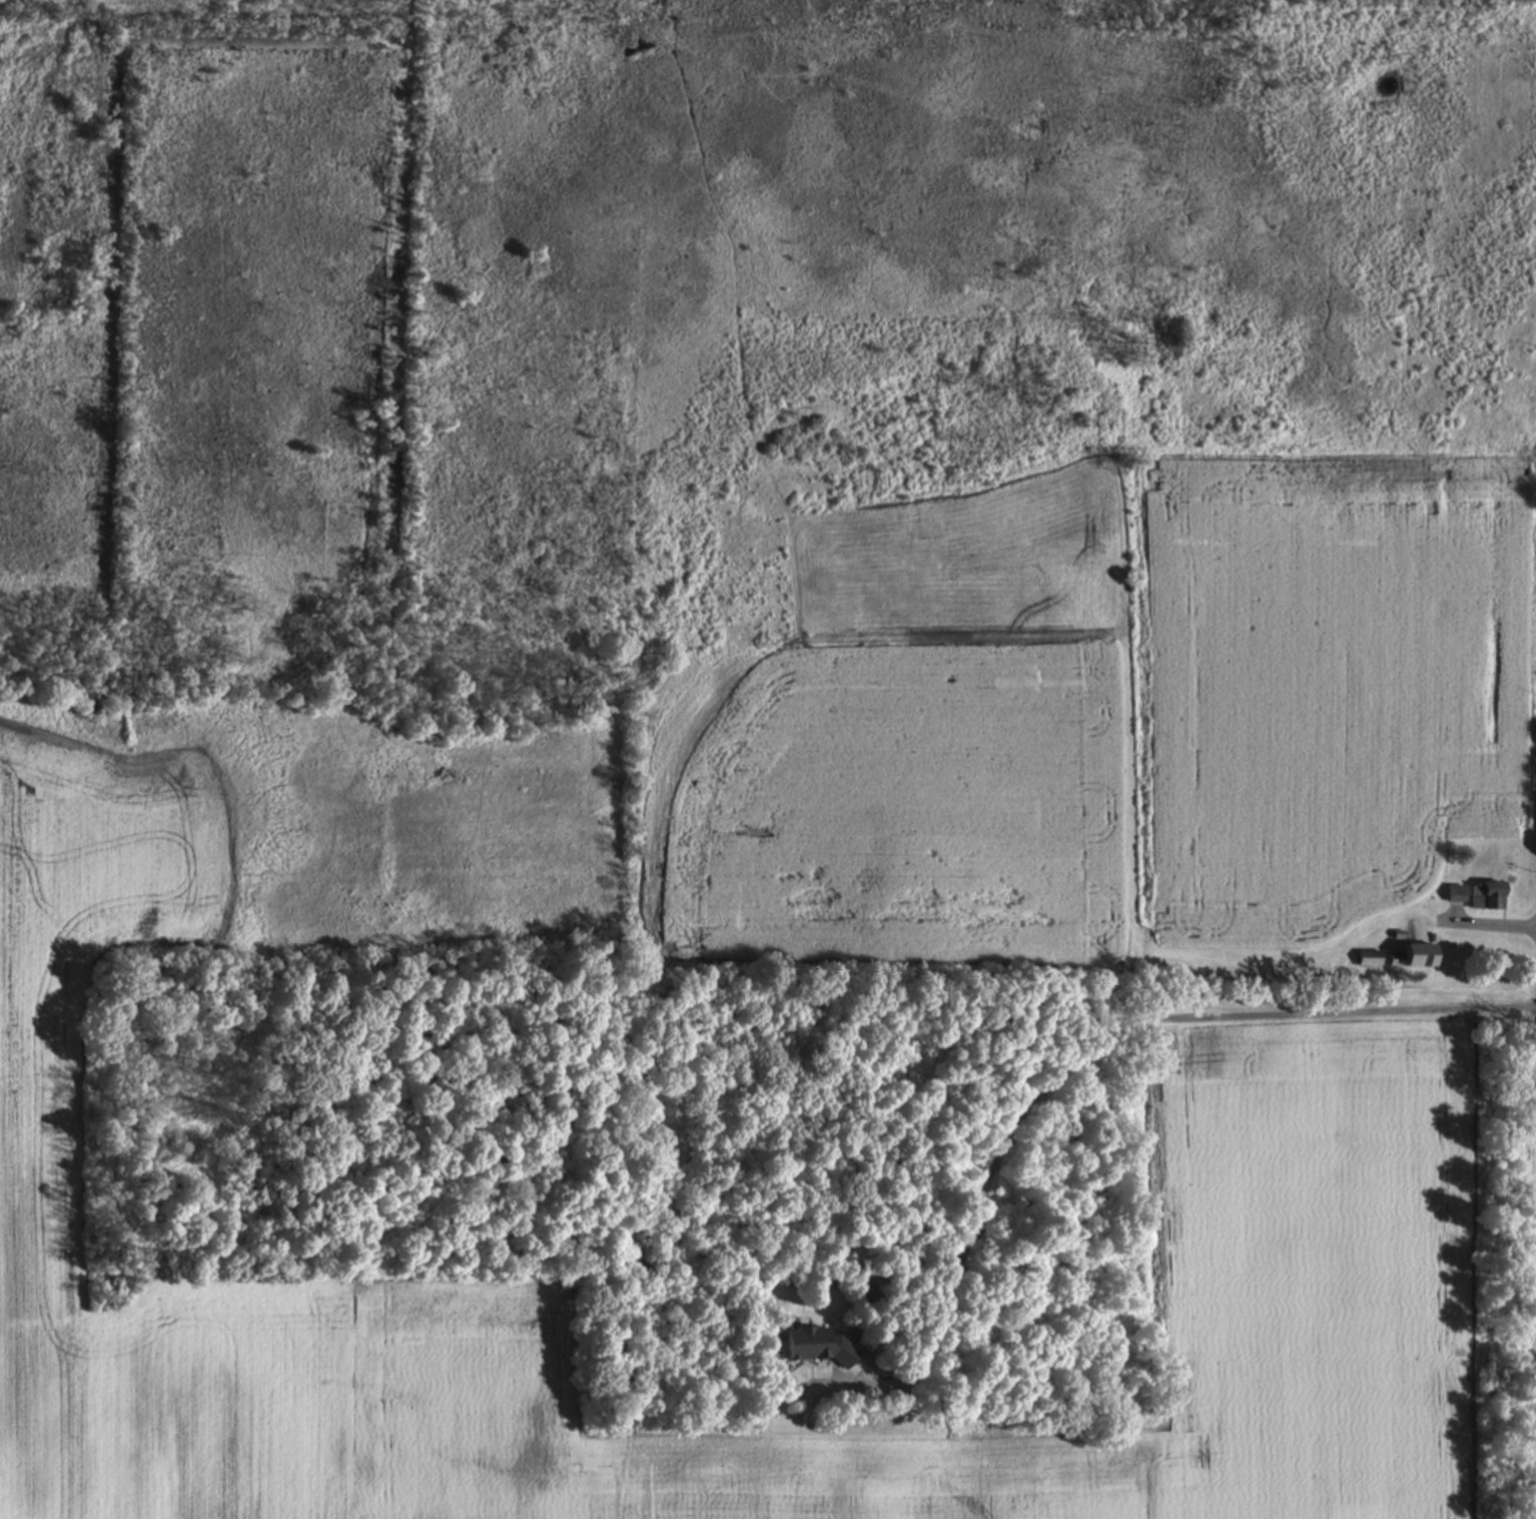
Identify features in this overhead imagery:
building: (1457, 898)
building: (1488, 899)
building: (1414, 960)
building: (1372, 962)
road: (1095, 1032)
building: (816, 1349)

